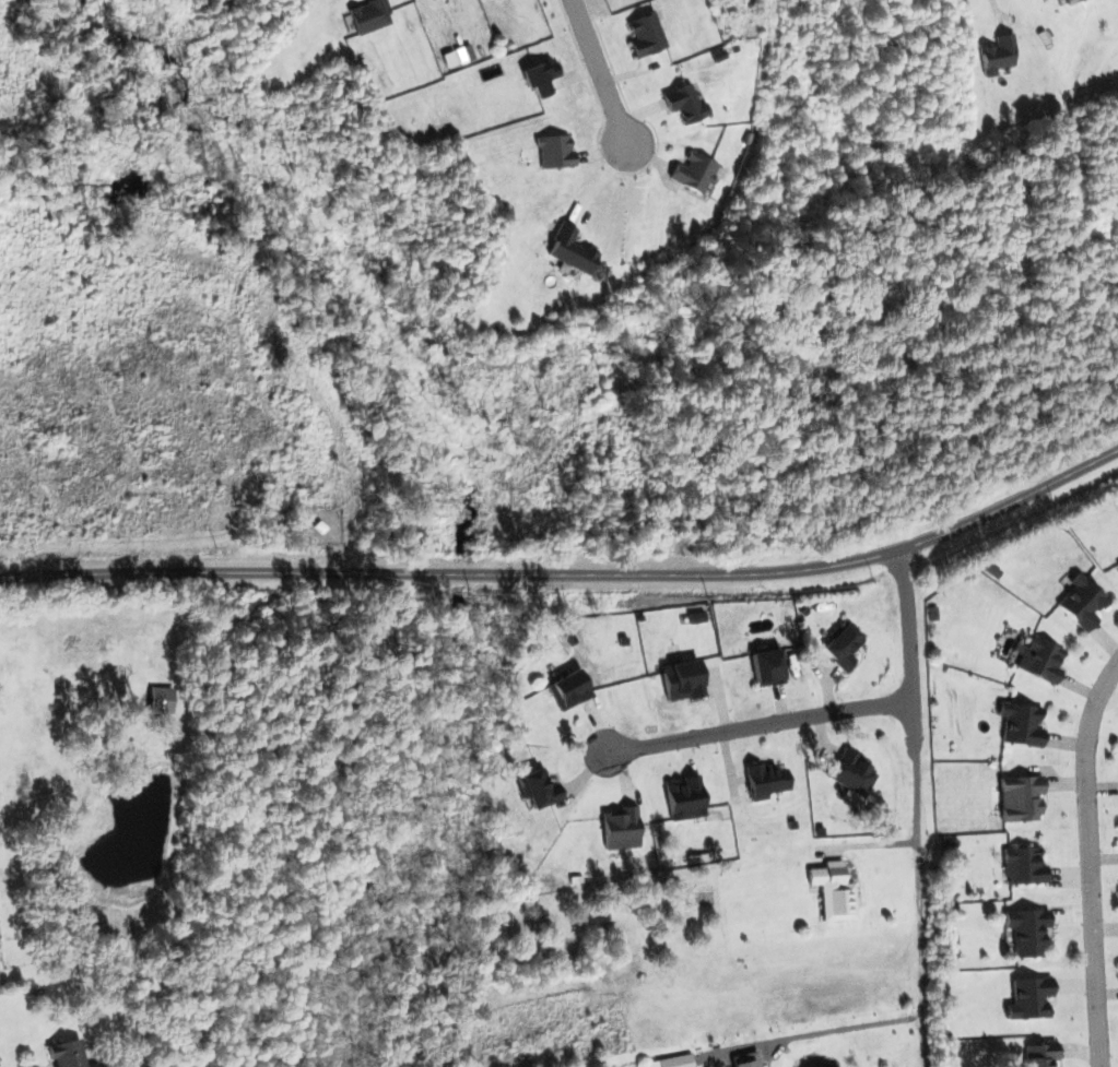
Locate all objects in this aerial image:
building: (1070, 1)
road: (995, 11)
building: (368, 15)
building: (645, 35)
building: (996, 54)
road: (611, 74)
building: (540, 76)
building: (684, 104)
building: (554, 151)
building: (694, 173)
building: (569, 250)
building: (1117, 561)
road: (570, 571)
building: (1081, 602)
building: (695, 617)
building: (842, 647)
road: (908, 650)
building: (1040, 659)
building: (766, 667)
building: (681, 679)
building: (567, 689)
building: (160, 700)
building: (1020, 724)
road: (758, 725)
building: (851, 773)
building: (764, 780)
building: (538, 789)
building: (684, 797)
building: (1020, 797)
building: (619, 828)
road: (1088, 859)
building: (1023, 865)
building: (833, 891)
road: (919, 910)
building: (1026, 930)
building: (1028, 997)
road: (844, 1030)
building: (69, 1054)
building: (1039, 1054)
building: (745, 1059)
building: (670, 1062)

